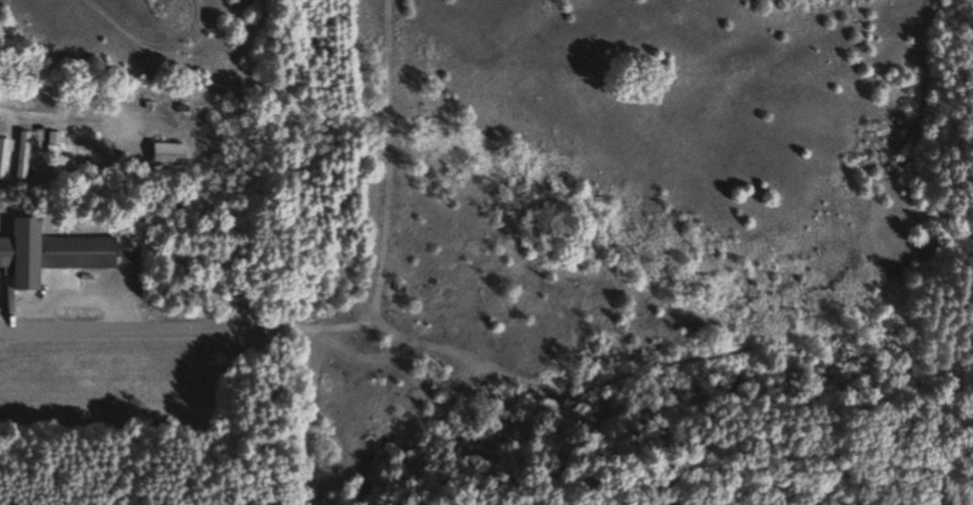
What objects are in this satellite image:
road: (54, 117)
building: (166, 155)
building: (1, 156)
building: (21, 156)
building: (48, 254)
road: (144, 329)

